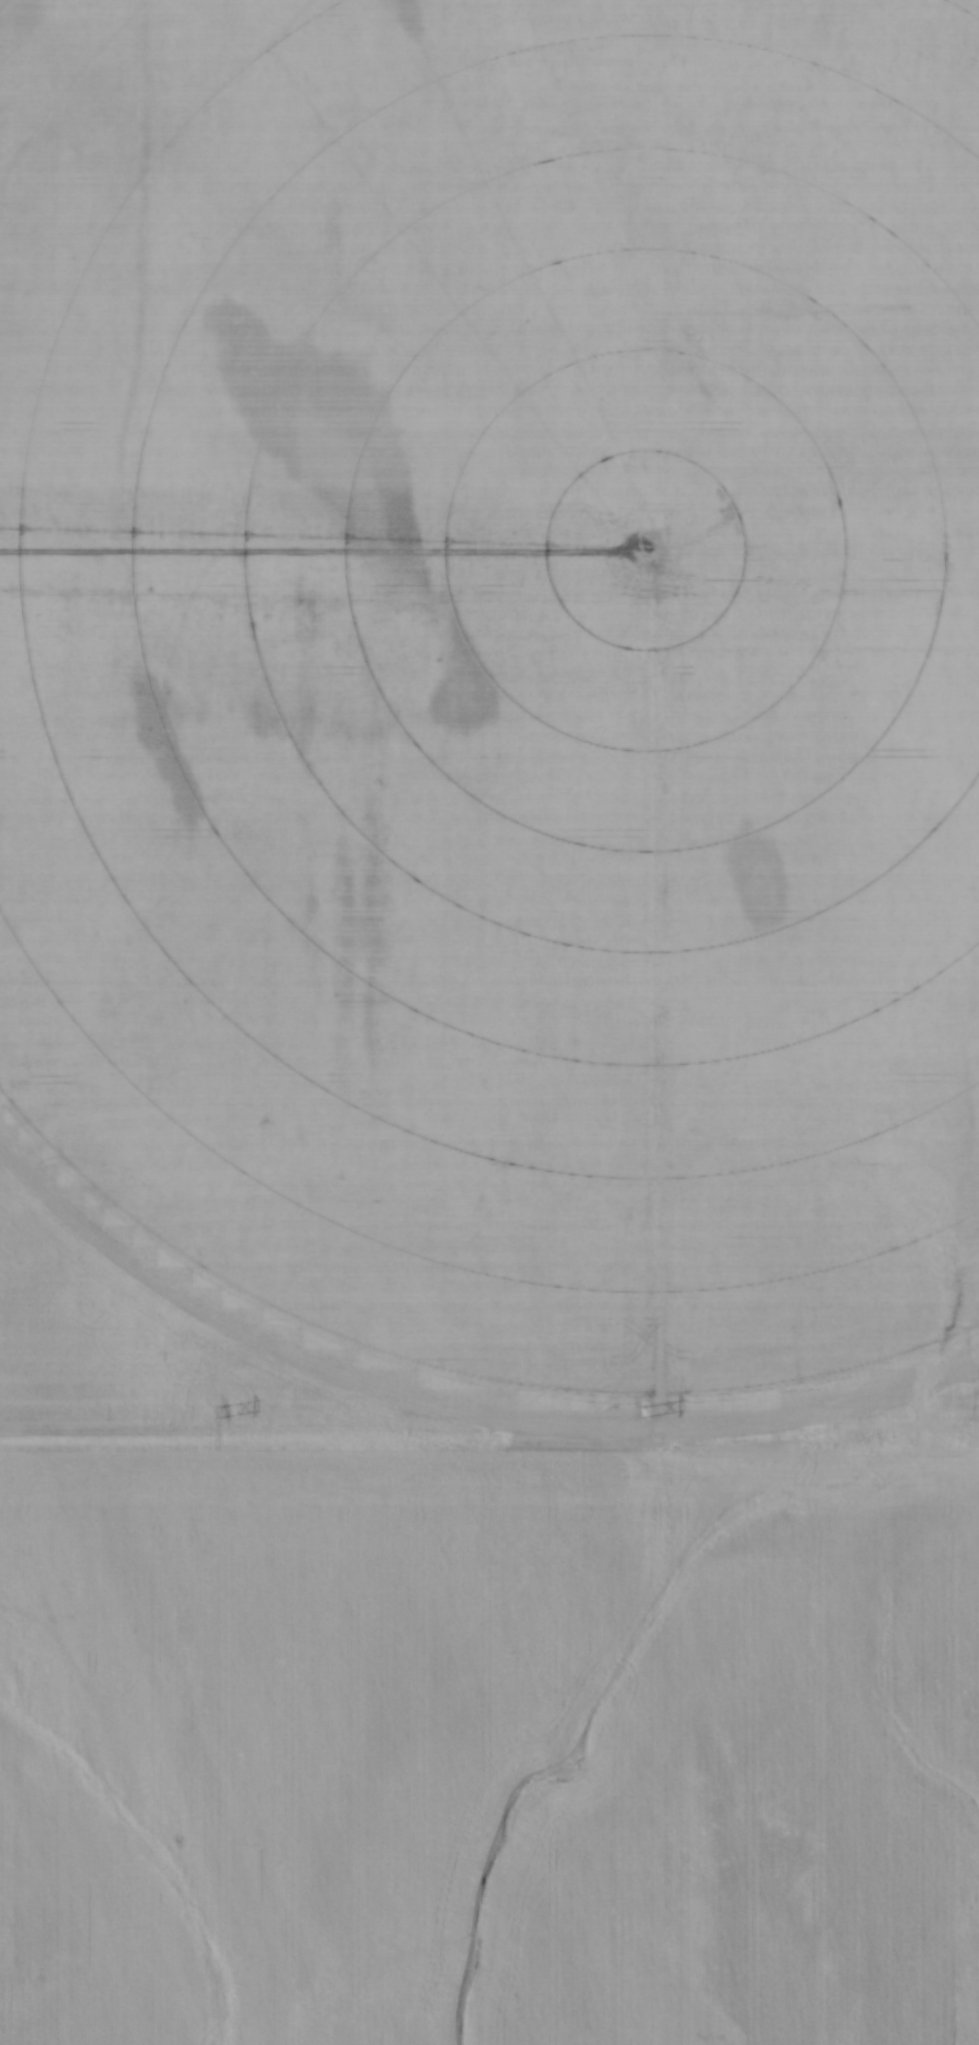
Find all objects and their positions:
power tower: (228, 1411)
power tower: (648, 1412)

